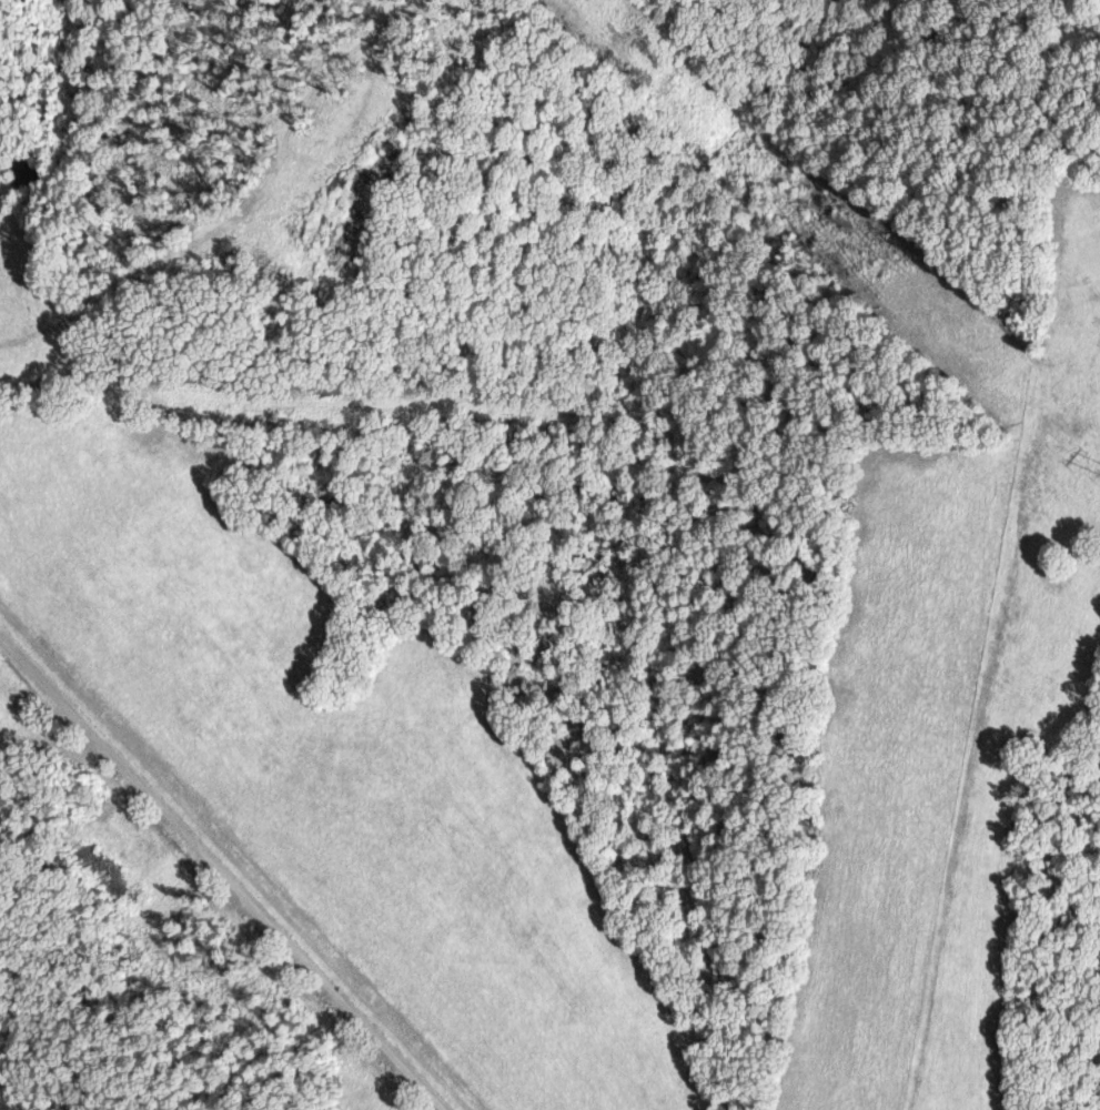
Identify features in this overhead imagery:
road: (221, 879)

